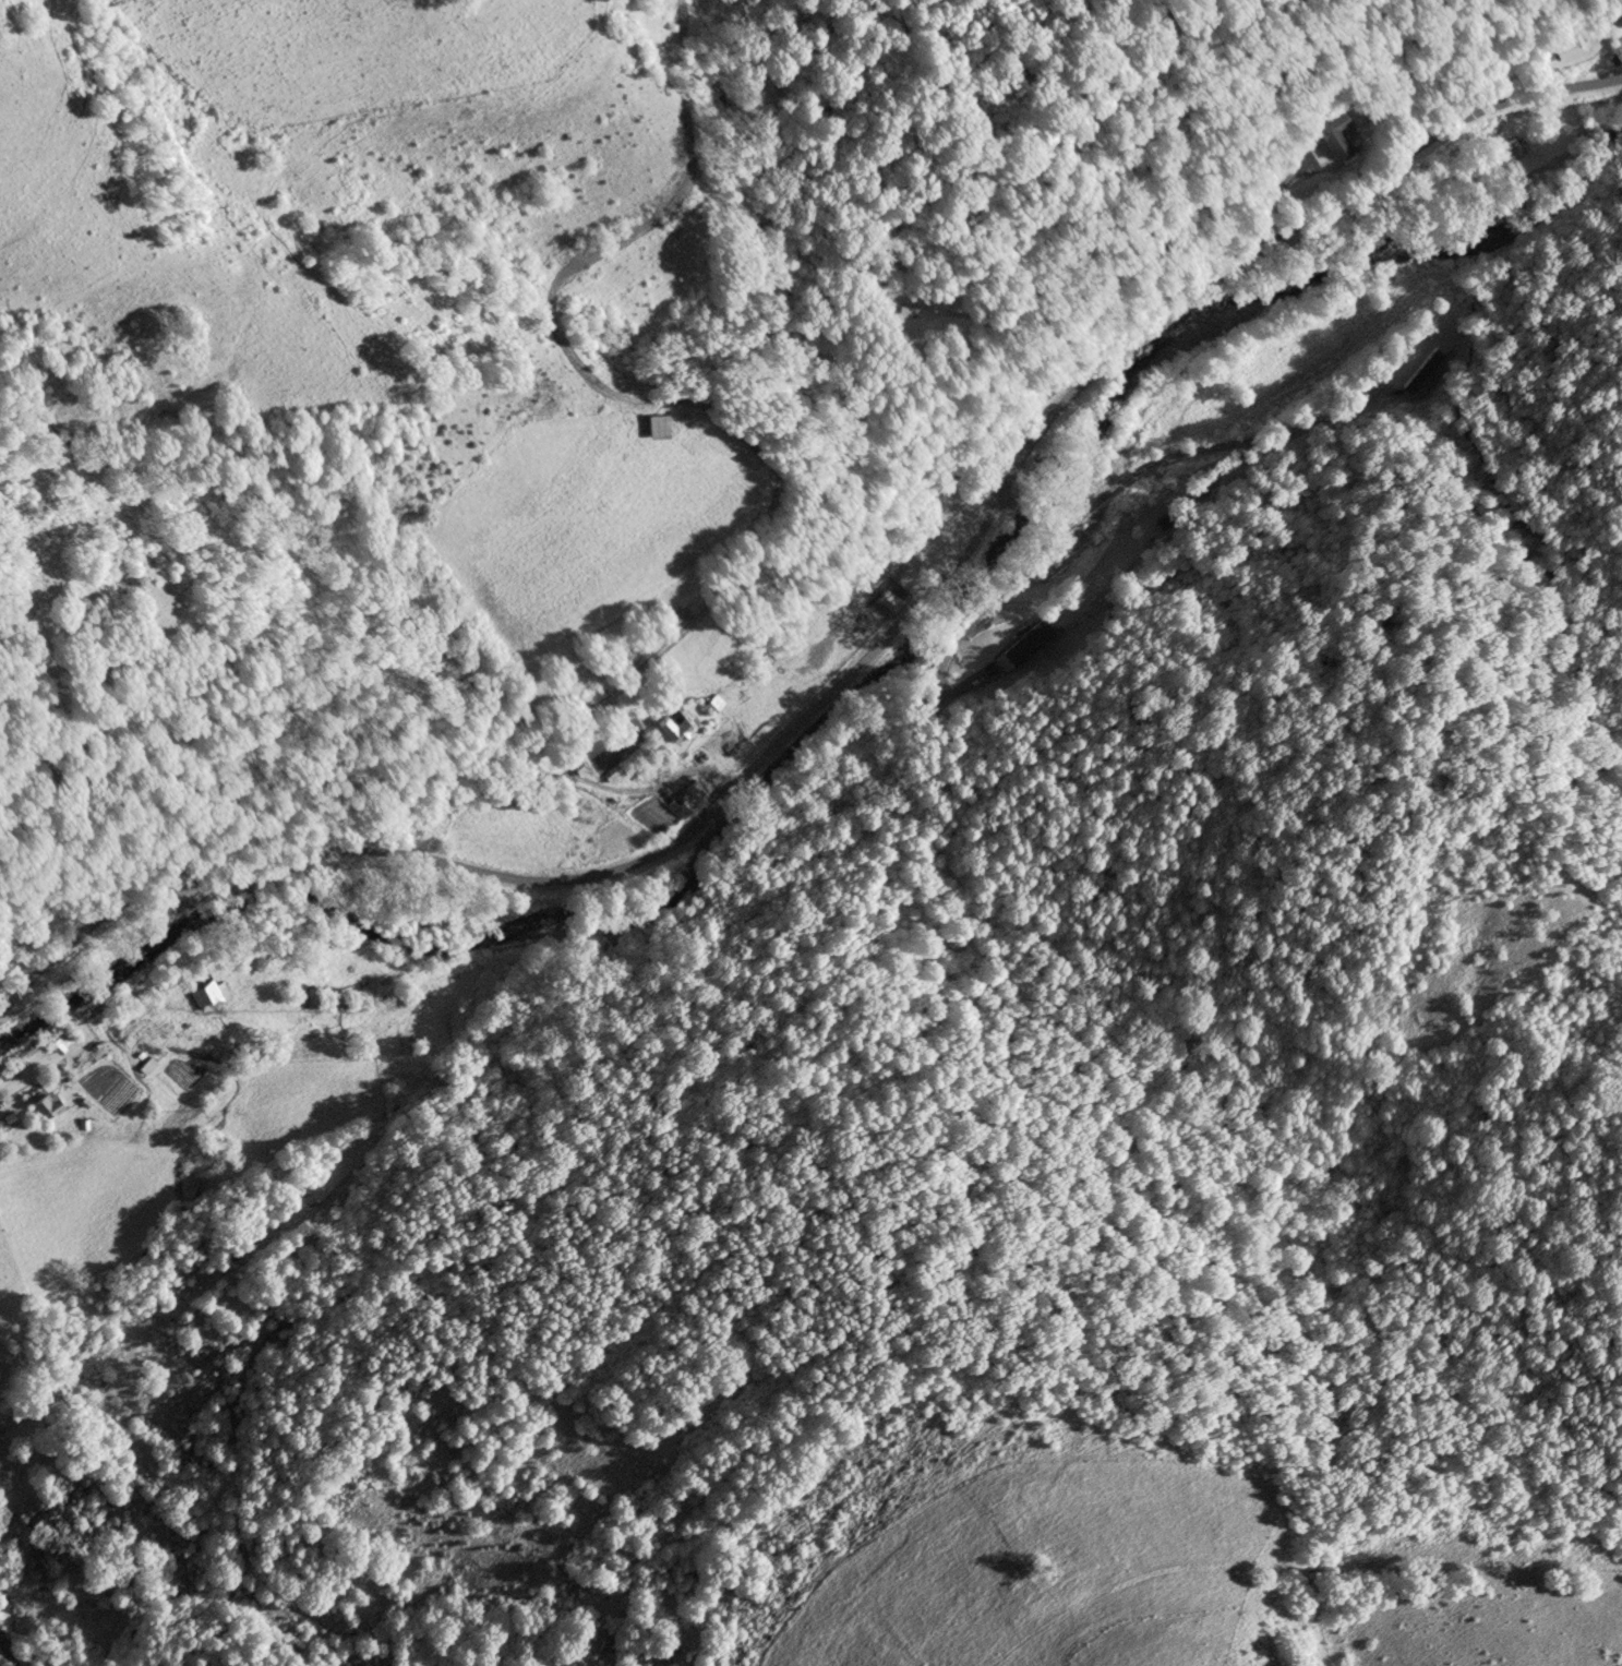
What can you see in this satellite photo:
building: (1566, 47)
building: (1330, 131)
building: (1517, 149)
road: (1263, 207)
building: (1036, 393)
building: (657, 427)
road: (1187, 455)
road: (1012, 503)
road: (1035, 516)
building: (1170, 525)
building: (889, 601)
road: (862, 668)
building: (713, 705)
building: (673, 728)
building: (575, 767)
building: (611, 777)
building: (687, 801)
building: (205, 996)
building: (315, 999)
building: (61, 1045)
building: (48, 1102)
building: (0, 1132)
road: (7, 1652)

